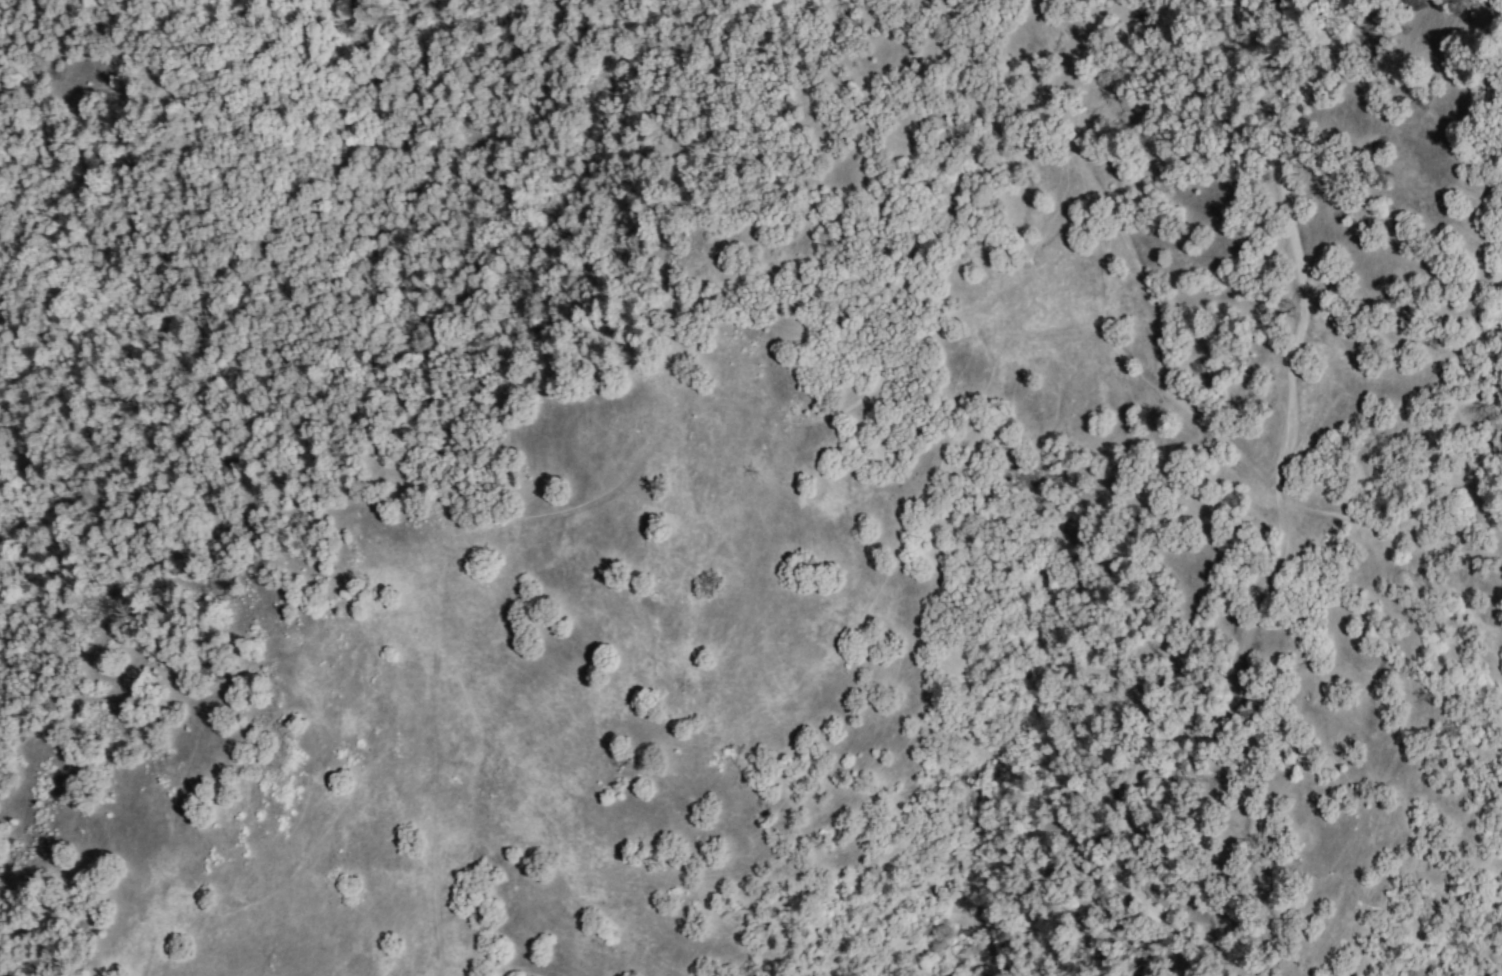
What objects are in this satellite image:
road: (1295, 333)
road: (1474, 497)

